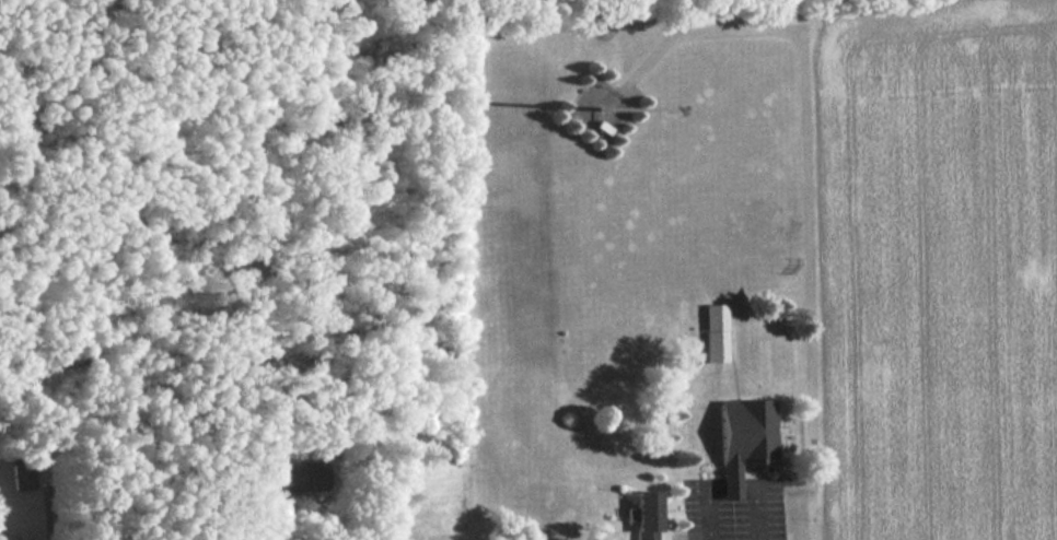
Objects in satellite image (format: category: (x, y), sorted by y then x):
building: (717, 331)
building: (745, 438)
building: (23, 474)
building: (291, 478)
building: (648, 515)

